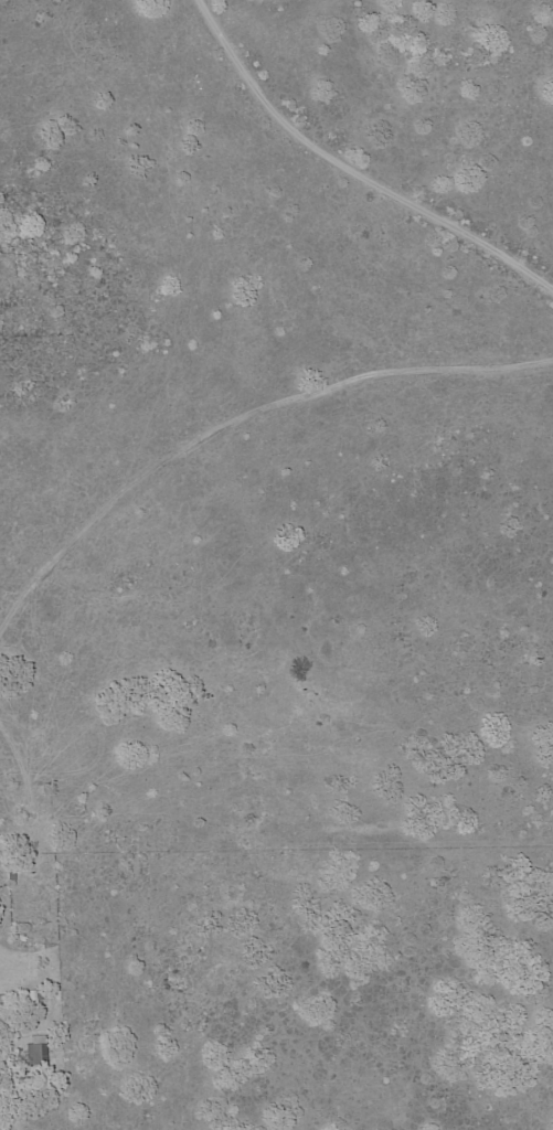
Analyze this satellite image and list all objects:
road: (353, 167)
building: (3, 1011)
building: (36, 1052)

